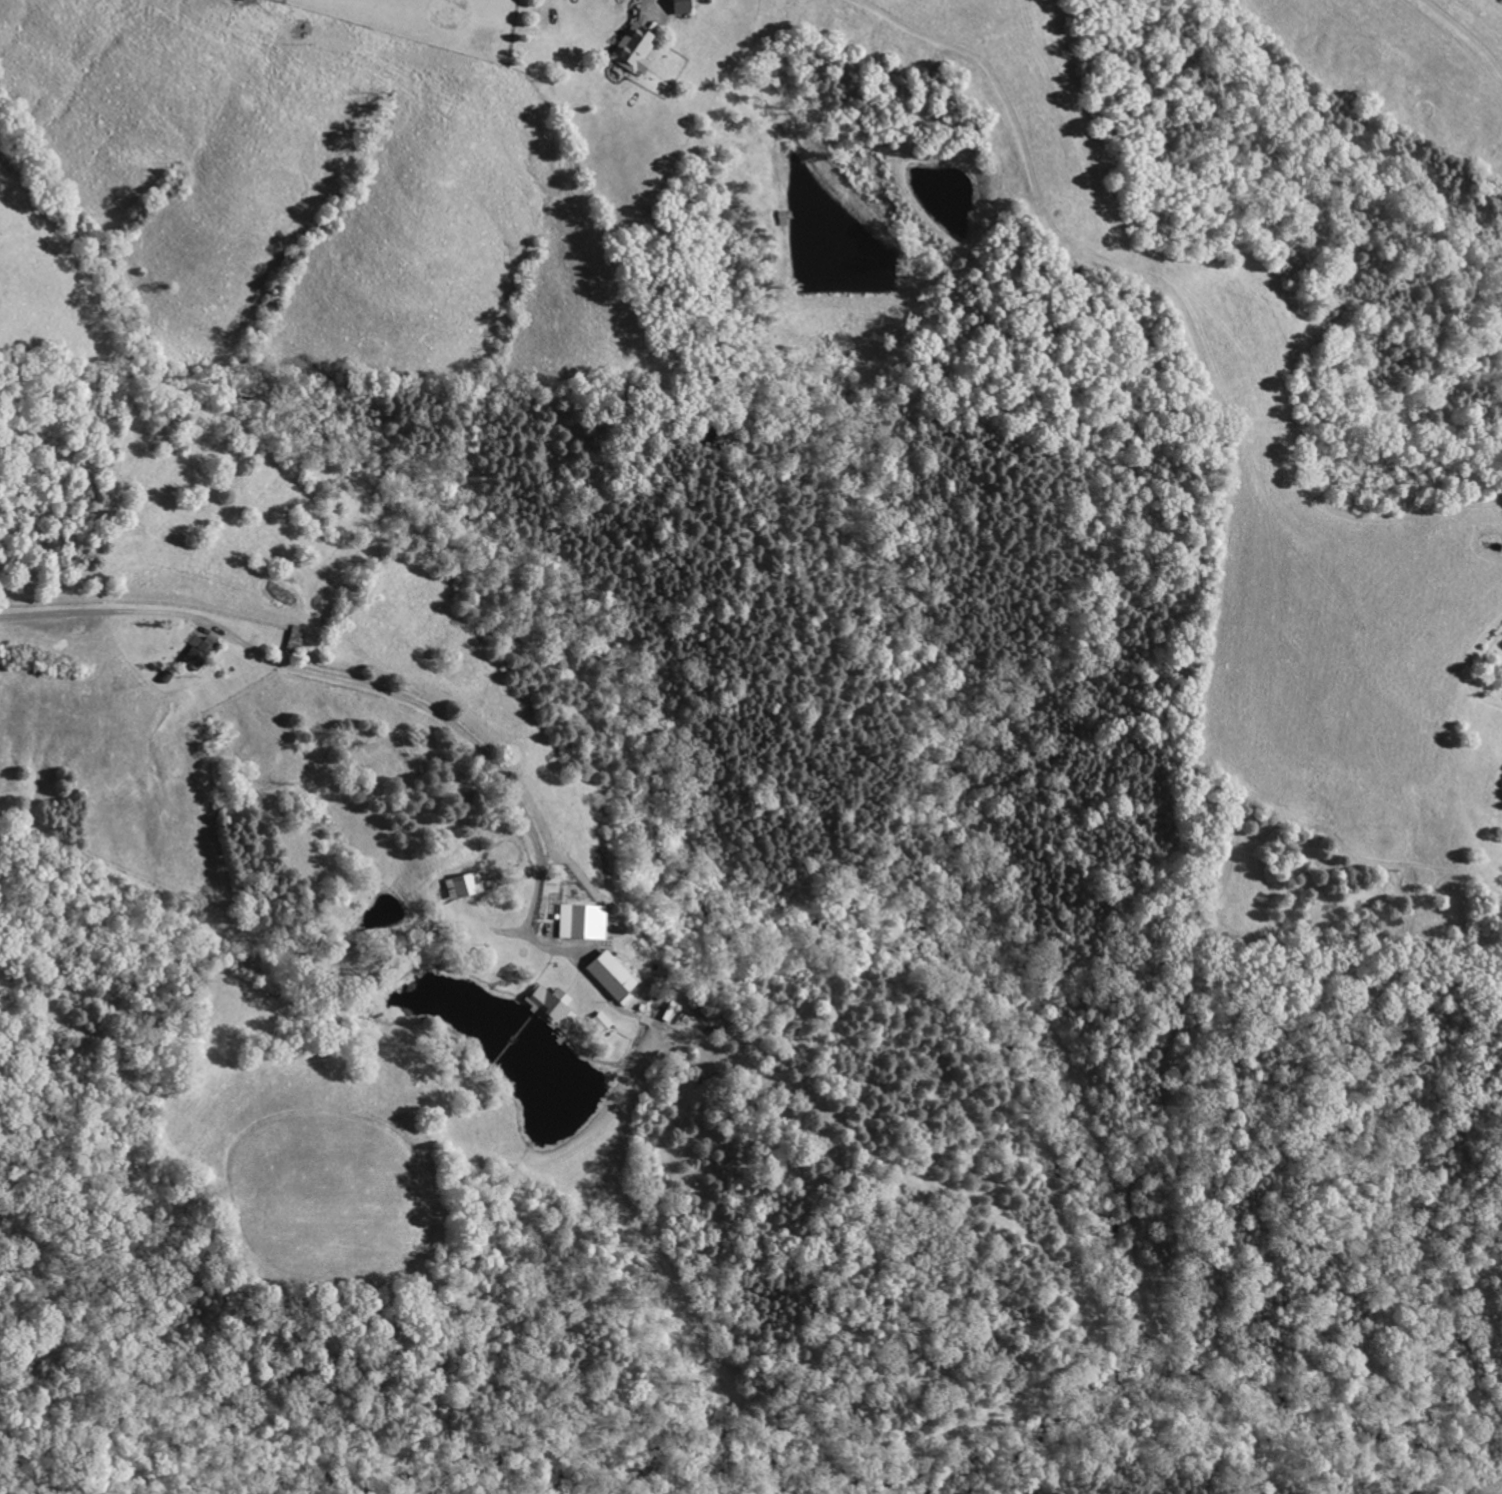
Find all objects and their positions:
building: (243, 0)
road: (656, 5)
building: (678, 7)
building: (632, 50)
road: (105, 612)
building: (196, 652)
road: (445, 714)
building: (582, 922)
building: (609, 975)
building: (551, 1007)
building: (600, 1021)

